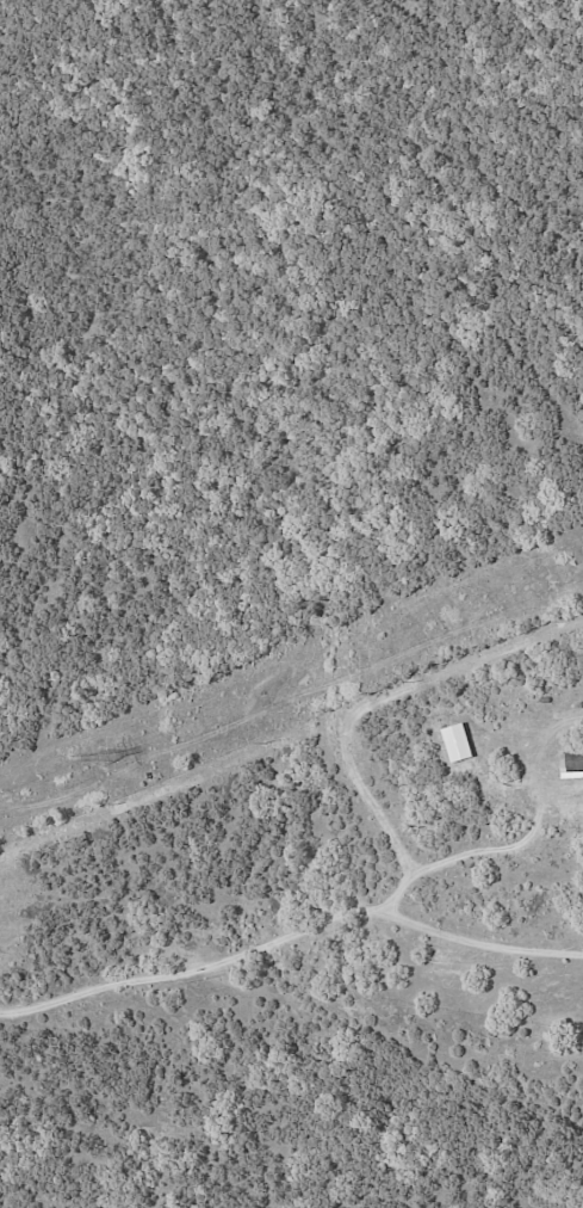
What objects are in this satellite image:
building: (458, 742)
power tower: (108, 759)
road: (376, 800)

